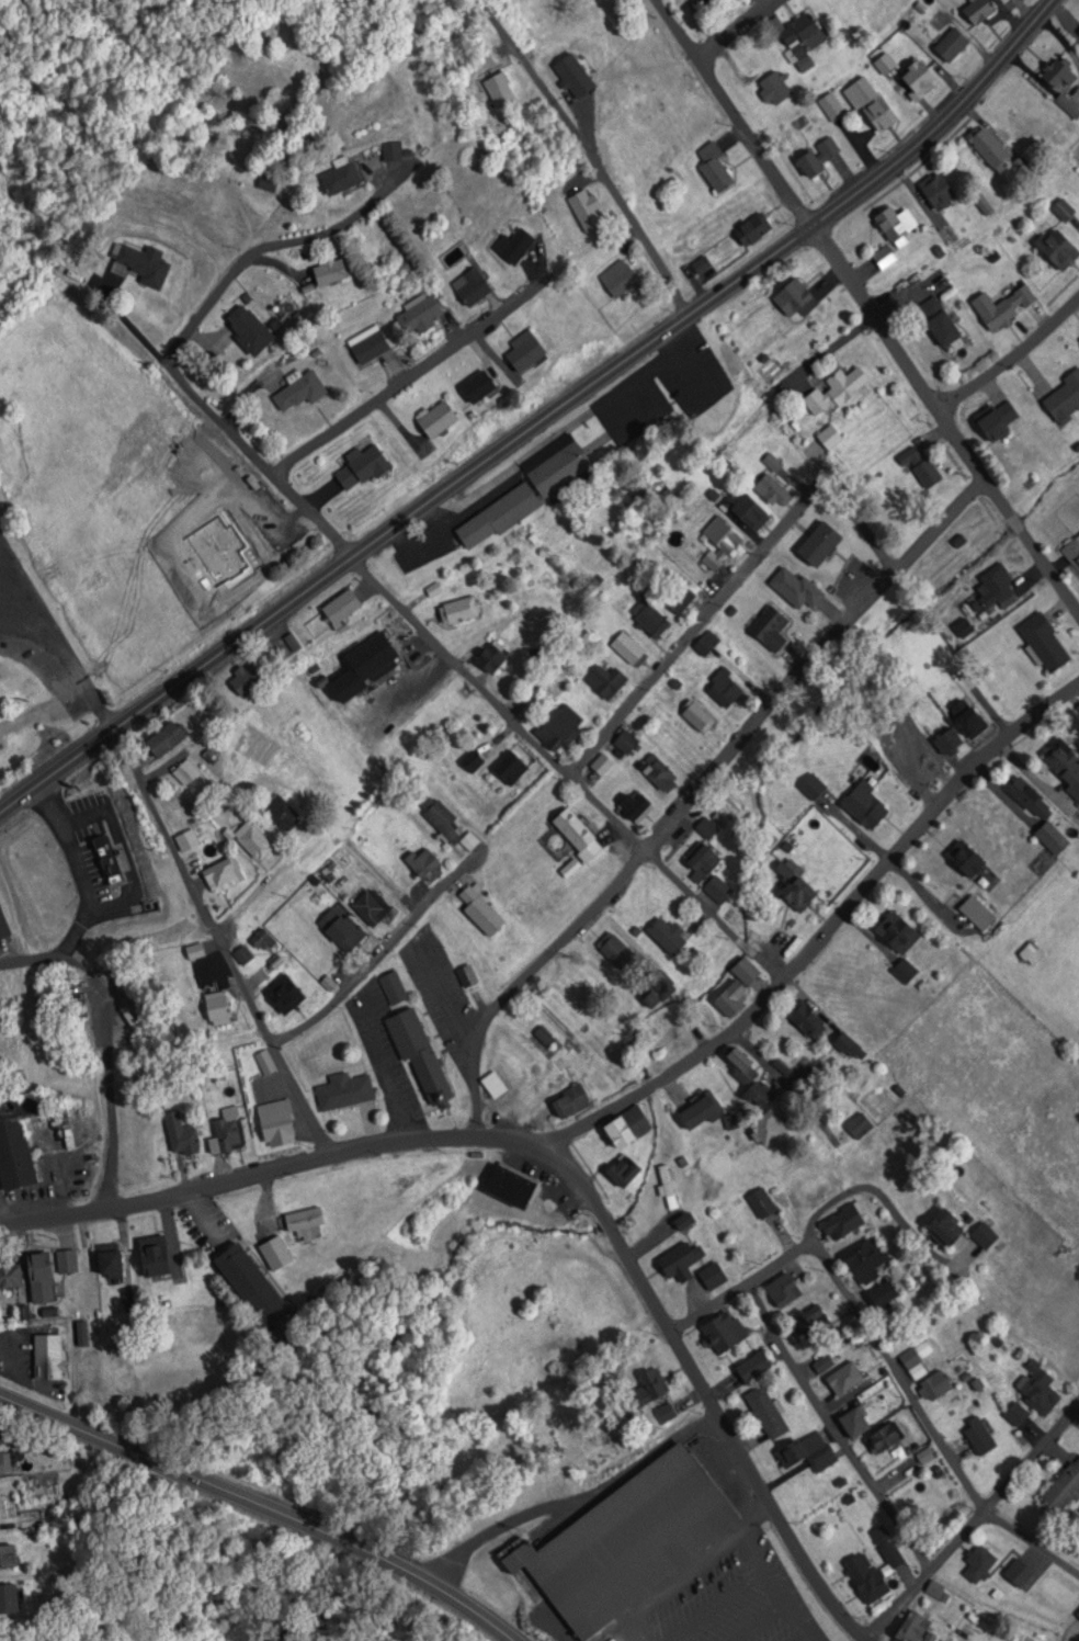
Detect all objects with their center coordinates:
building: (698, 4)
building: (977, 11)
road: (737, 27)
building: (1078, 30)
building: (802, 32)
building: (950, 44)
building: (884, 63)
building: (1057, 73)
building: (917, 79)
building: (773, 88)
building: (498, 89)
building: (870, 104)
building: (831, 105)
building: (987, 147)
building: (393, 150)
building: (817, 156)
building: (713, 167)
building: (342, 174)
building: (938, 193)
building: (584, 210)
building: (1063, 210)
road: (617, 219)
building: (894, 223)
building: (752, 228)
road: (264, 246)
building: (512, 246)
building: (1056, 249)
building: (883, 257)
building: (697, 261)
building: (144, 262)
building: (332, 272)
building: (616, 279)
building: (470, 286)
building: (793, 298)
building: (1001, 306)
building: (421, 314)
road: (866, 315)
building: (938, 321)
building: (251, 328)
building: (370, 344)
building: (522, 351)
road: (1011, 354)
road: (401, 375)
building: (476, 387)
building: (302, 391)
building: (832, 392)
building: (1064, 398)
building: (440, 416)
road: (542, 420)
building: (996, 420)
road: (239, 438)
building: (828, 438)
building: (362, 464)
building: (918, 465)
building: (560, 472)
building: (771, 490)
building: (271, 511)
building: (748, 511)
building: (498, 514)
road: (855, 539)
building: (719, 542)
building: (818, 544)
building: (1072, 553)
building: (794, 588)
building: (995, 589)
building: (678, 599)
building: (344, 603)
building: (458, 609)
building: (651, 623)
building: (768, 627)
road: (694, 640)
building: (705, 643)
building: (1043, 643)
building: (628, 649)
building: (491, 657)
building: (368, 661)
road: (809, 670)
building: (248, 678)
building: (604, 681)
building: (722, 690)
building: (696, 717)
building: (966, 720)
building: (559, 728)
building: (167, 737)
building: (625, 742)
building: (601, 765)
building: (1063, 765)
building: (509, 768)
building: (186, 770)
road: (556, 772)
building: (656, 772)
building: (811, 788)
building: (638, 806)
building: (864, 806)
building: (282, 811)
building: (1037, 815)
building: (445, 820)
building: (705, 828)
building: (576, 834)
building: (188, 838)
building: (253, 838)
building: (423, 861)
building: (965, 861)
building: (224, 873)
building: (707, 873)
building: (793, 887)
road: (251, 905)
building: (372, 905)
building: (475, 907)
building: (976, 913)
building: (3, 924)
building: (342, 926)
road: (818, 928)
building: (897, 933)
building: (667, 936)
building: (264, 938)
building: (615, 952)
building: (243, 953)
building: (1030, 953)
road: (376, 965)
road: (228, 971)
building: (745, 971)
building: (904, 971)
building: (394, 986)
building: (657, 988)
road: (521, 989)
building: (286, 992)
building: (730, 997)
building: (219, 1006)
road: (800, 1012)
building: (805, 1020)
road: (104, 1037)
building: (666, 1037)
building: (543, 1039)
building: (421, 1054)
building: (739, 1065)
building: (492, 1085)
building: (344, 1089)
building: (757, 1095)
building: (569, 1101)
building: (698, 1111)
building: (280, 1120)
building: (859, 1125)
building: (626, 1128)
building: (182, 1129)
building: (228, 1129)
building: (768, 1130)
building: (18, 1138)
building: (622, 1170)
road: (553, 1175)
building: (509, 1187)
building: (667, 1188)
building: (816, 1188)
building: (761, 1202)
building: (305, 1218)
building: (683, 1221)
building: (944, 1227)
building: (984, 1235)
road: (809, 1249)
building: (158, 1255)
building: (67, 1259)
building: (112, 1259)
building: (681, 1260)
building: (865, 1260)
building: (11, 1272)
building: (42, 1276)
building: (712, 1276)
building: (253, 1284)
building: (782, 1290)
building: (808, 1323)
building: (723, 1332)
building: (916, 1354)
building: (49, 1356)
building: (822, 1363)
building: (752, 1367)
building: (92, 1373)
building: (843, 1378)
building: (933, 1385)
building: (648, 1388)
building: (1036, 1388)
building: (765, 1413)
building: (1015, 1414)
building: (851, 1419)
road: (928, 1430)
road: (831, 1437)
building: (883, 1437)
building: (979, 1438)
building: (807, 1451)
building: (4, 1461)
building: (1063, 1489)
road: (262, 1504)
road: (973, 1517)
building: (879, 1535)
building: (626, 1541)
building: (890, 1554)
building: (8, 1558)
building: (978, 1563)
building: (1019, 1573)
building: (865, 1578)
building: (1078, 1612)
building: (910, 1629)
building: (944, 1640)

